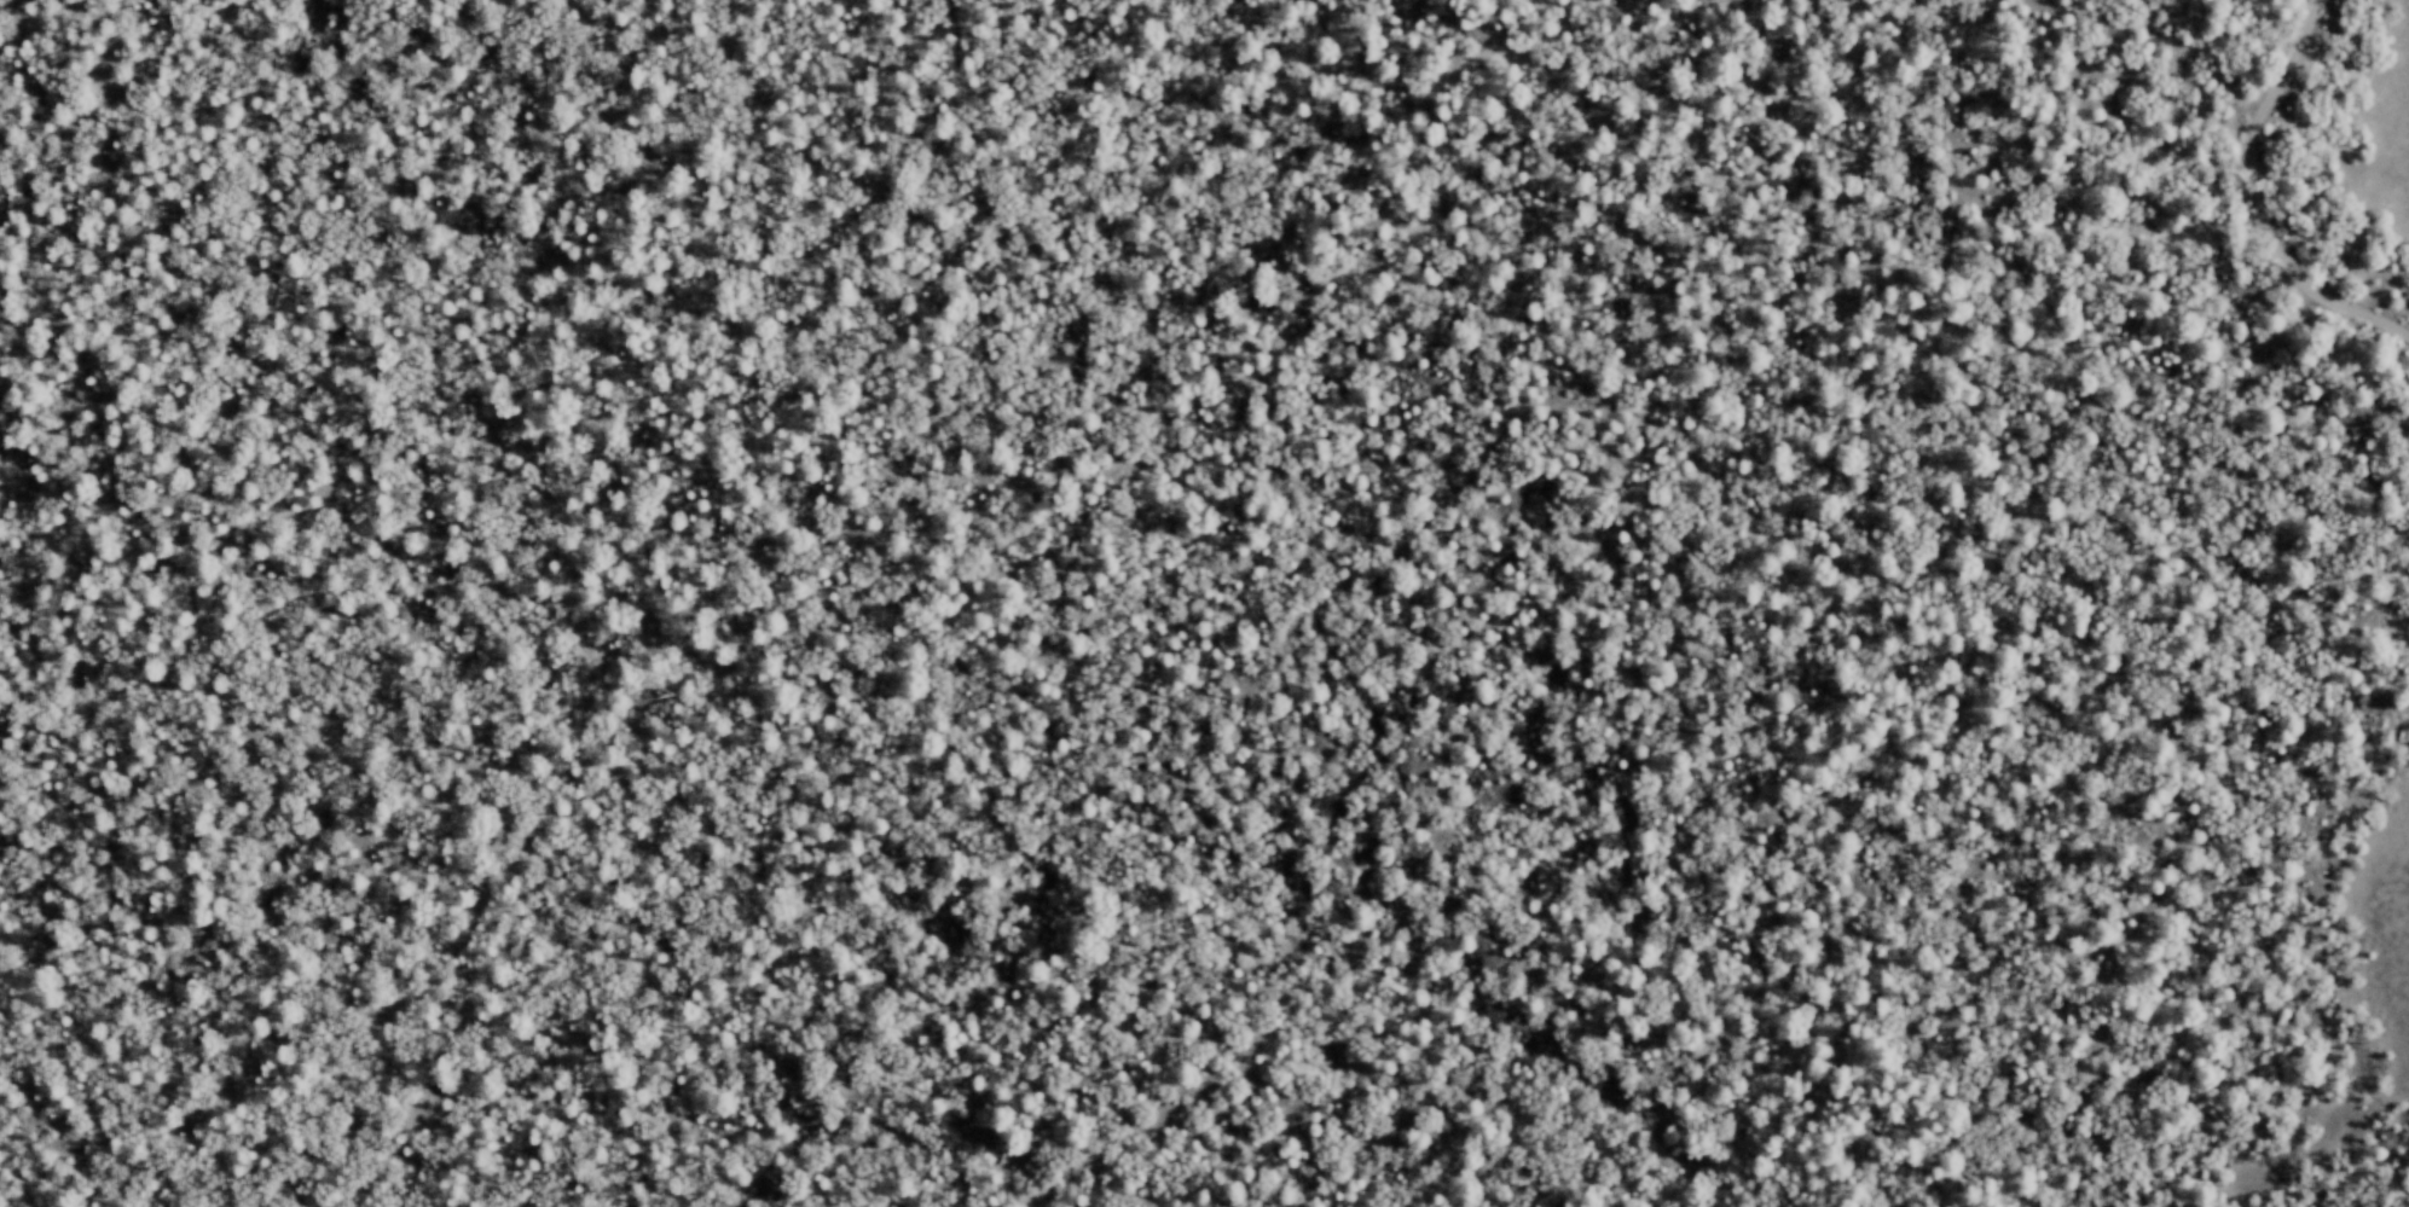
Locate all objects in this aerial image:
road: (2252, 203)

